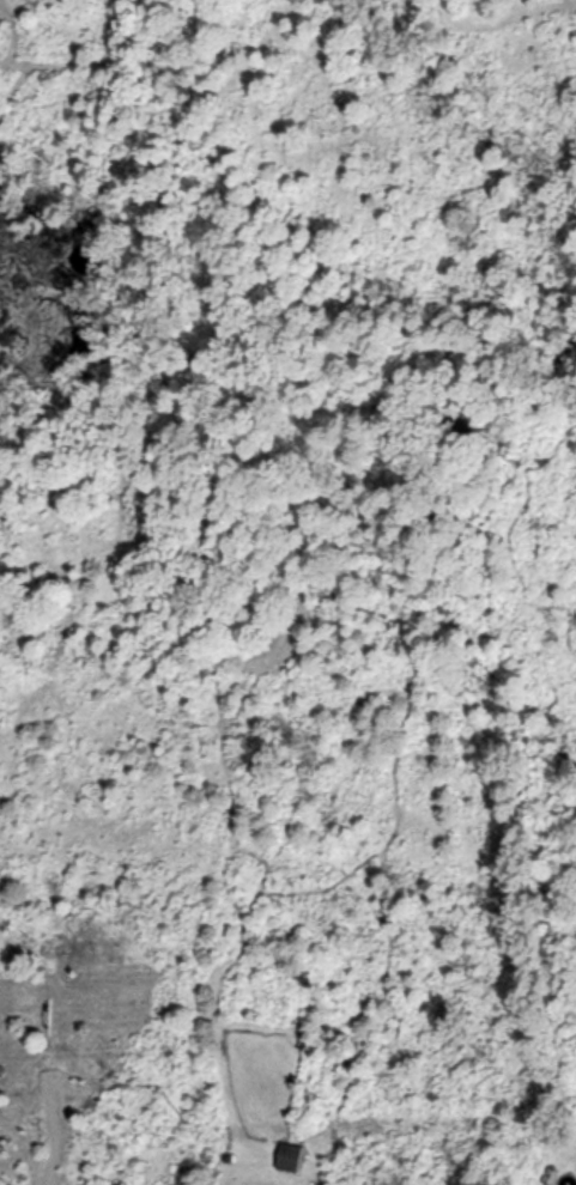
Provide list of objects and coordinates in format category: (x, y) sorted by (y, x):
building: (293, 1159)

